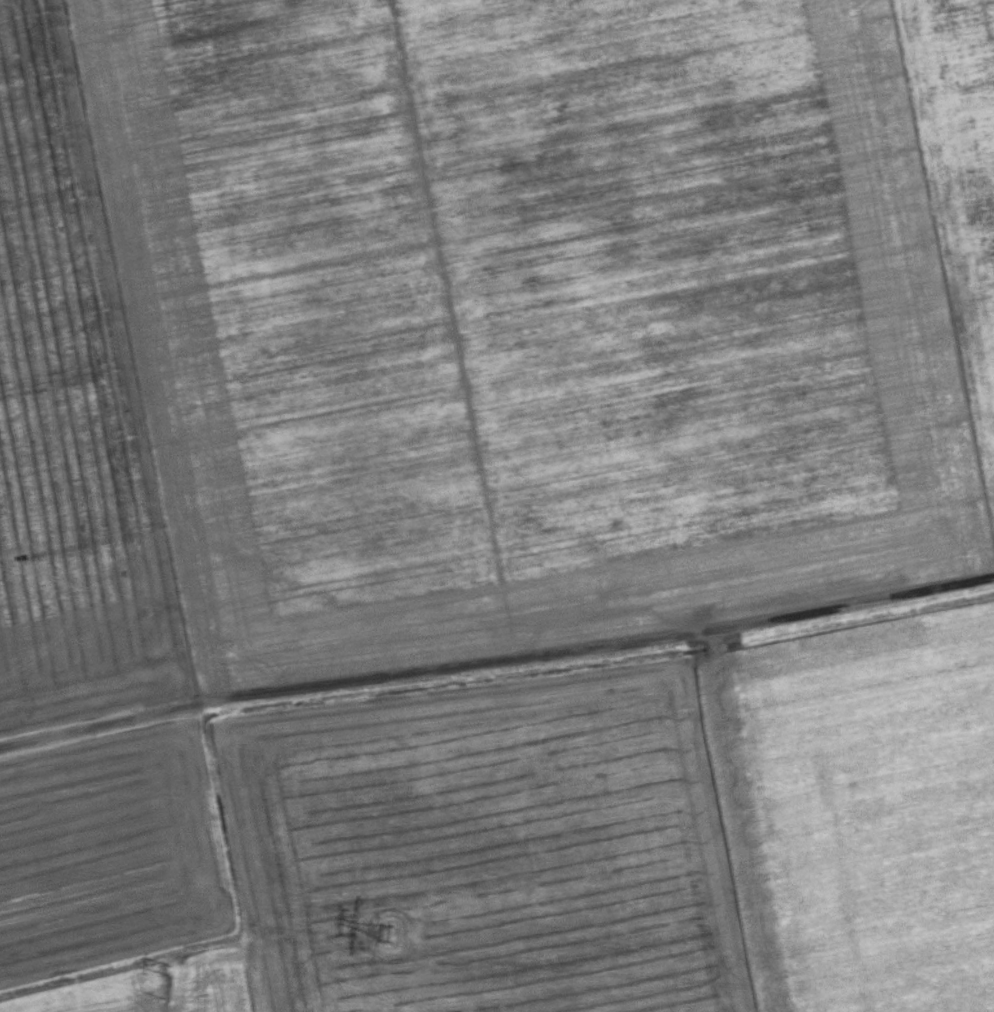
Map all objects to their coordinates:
power tower: (385, 933)
power tower: (169, 967)

